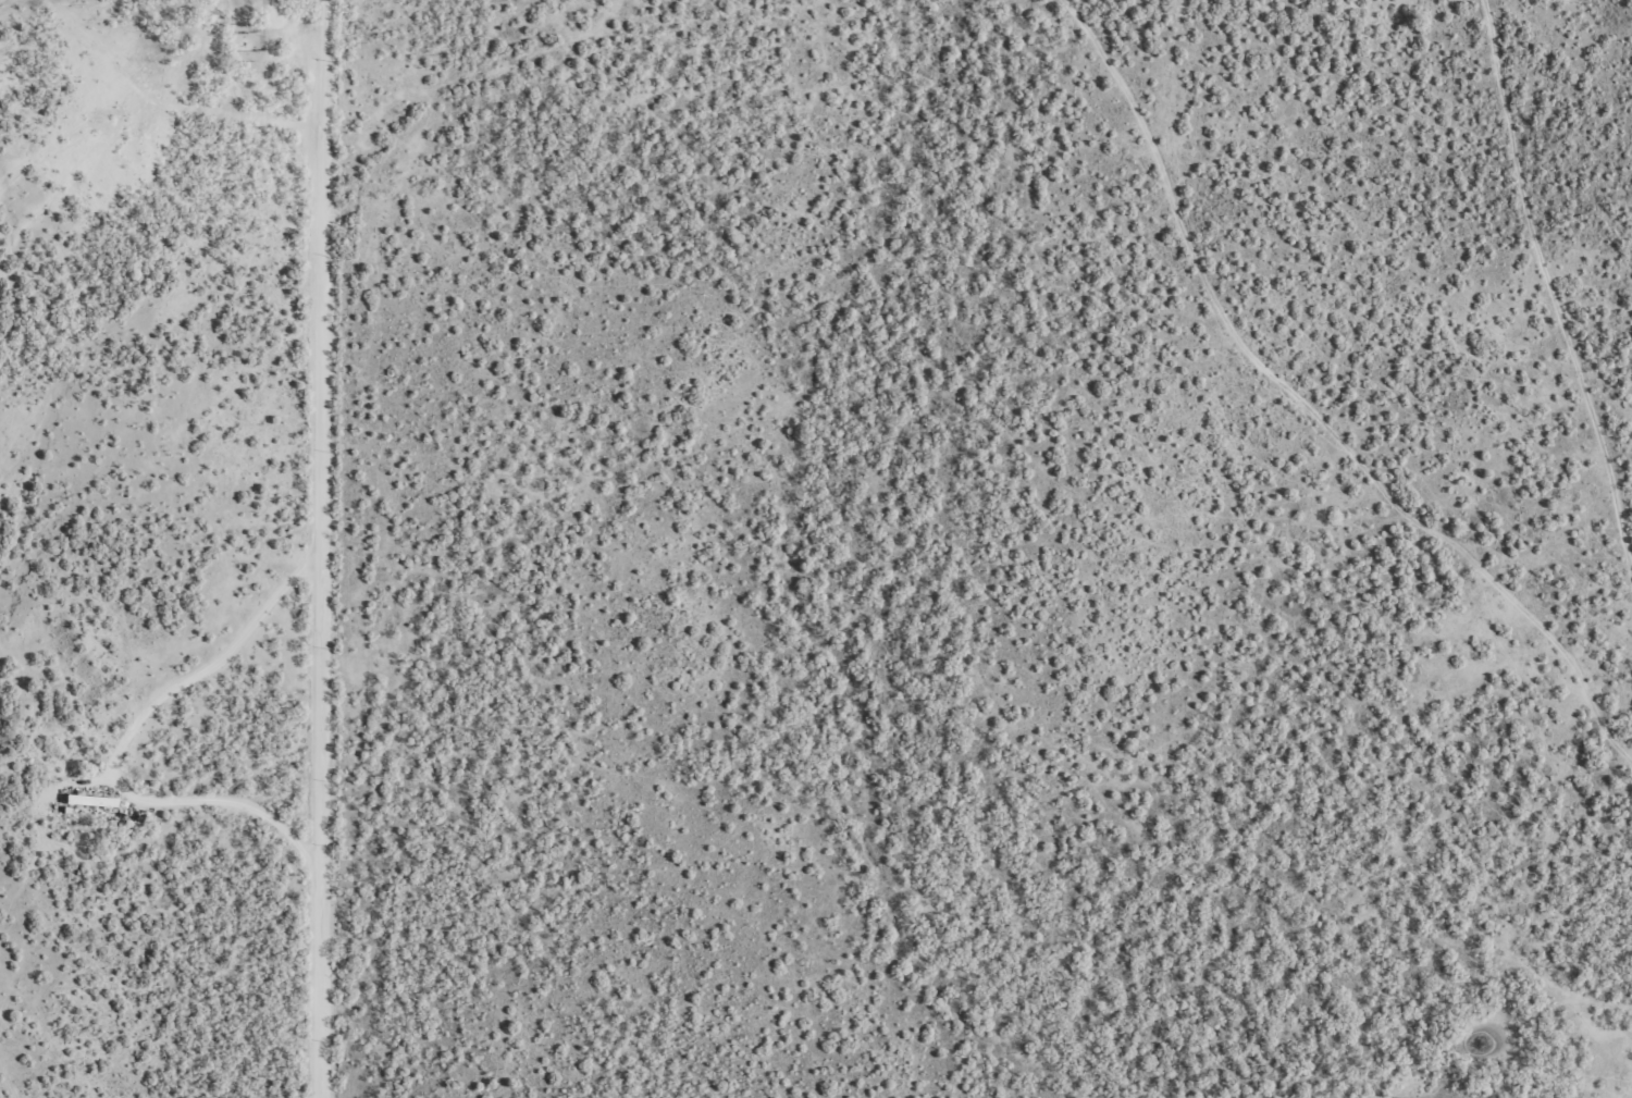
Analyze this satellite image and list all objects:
road: (1399, 390)
building: (106, 801)

